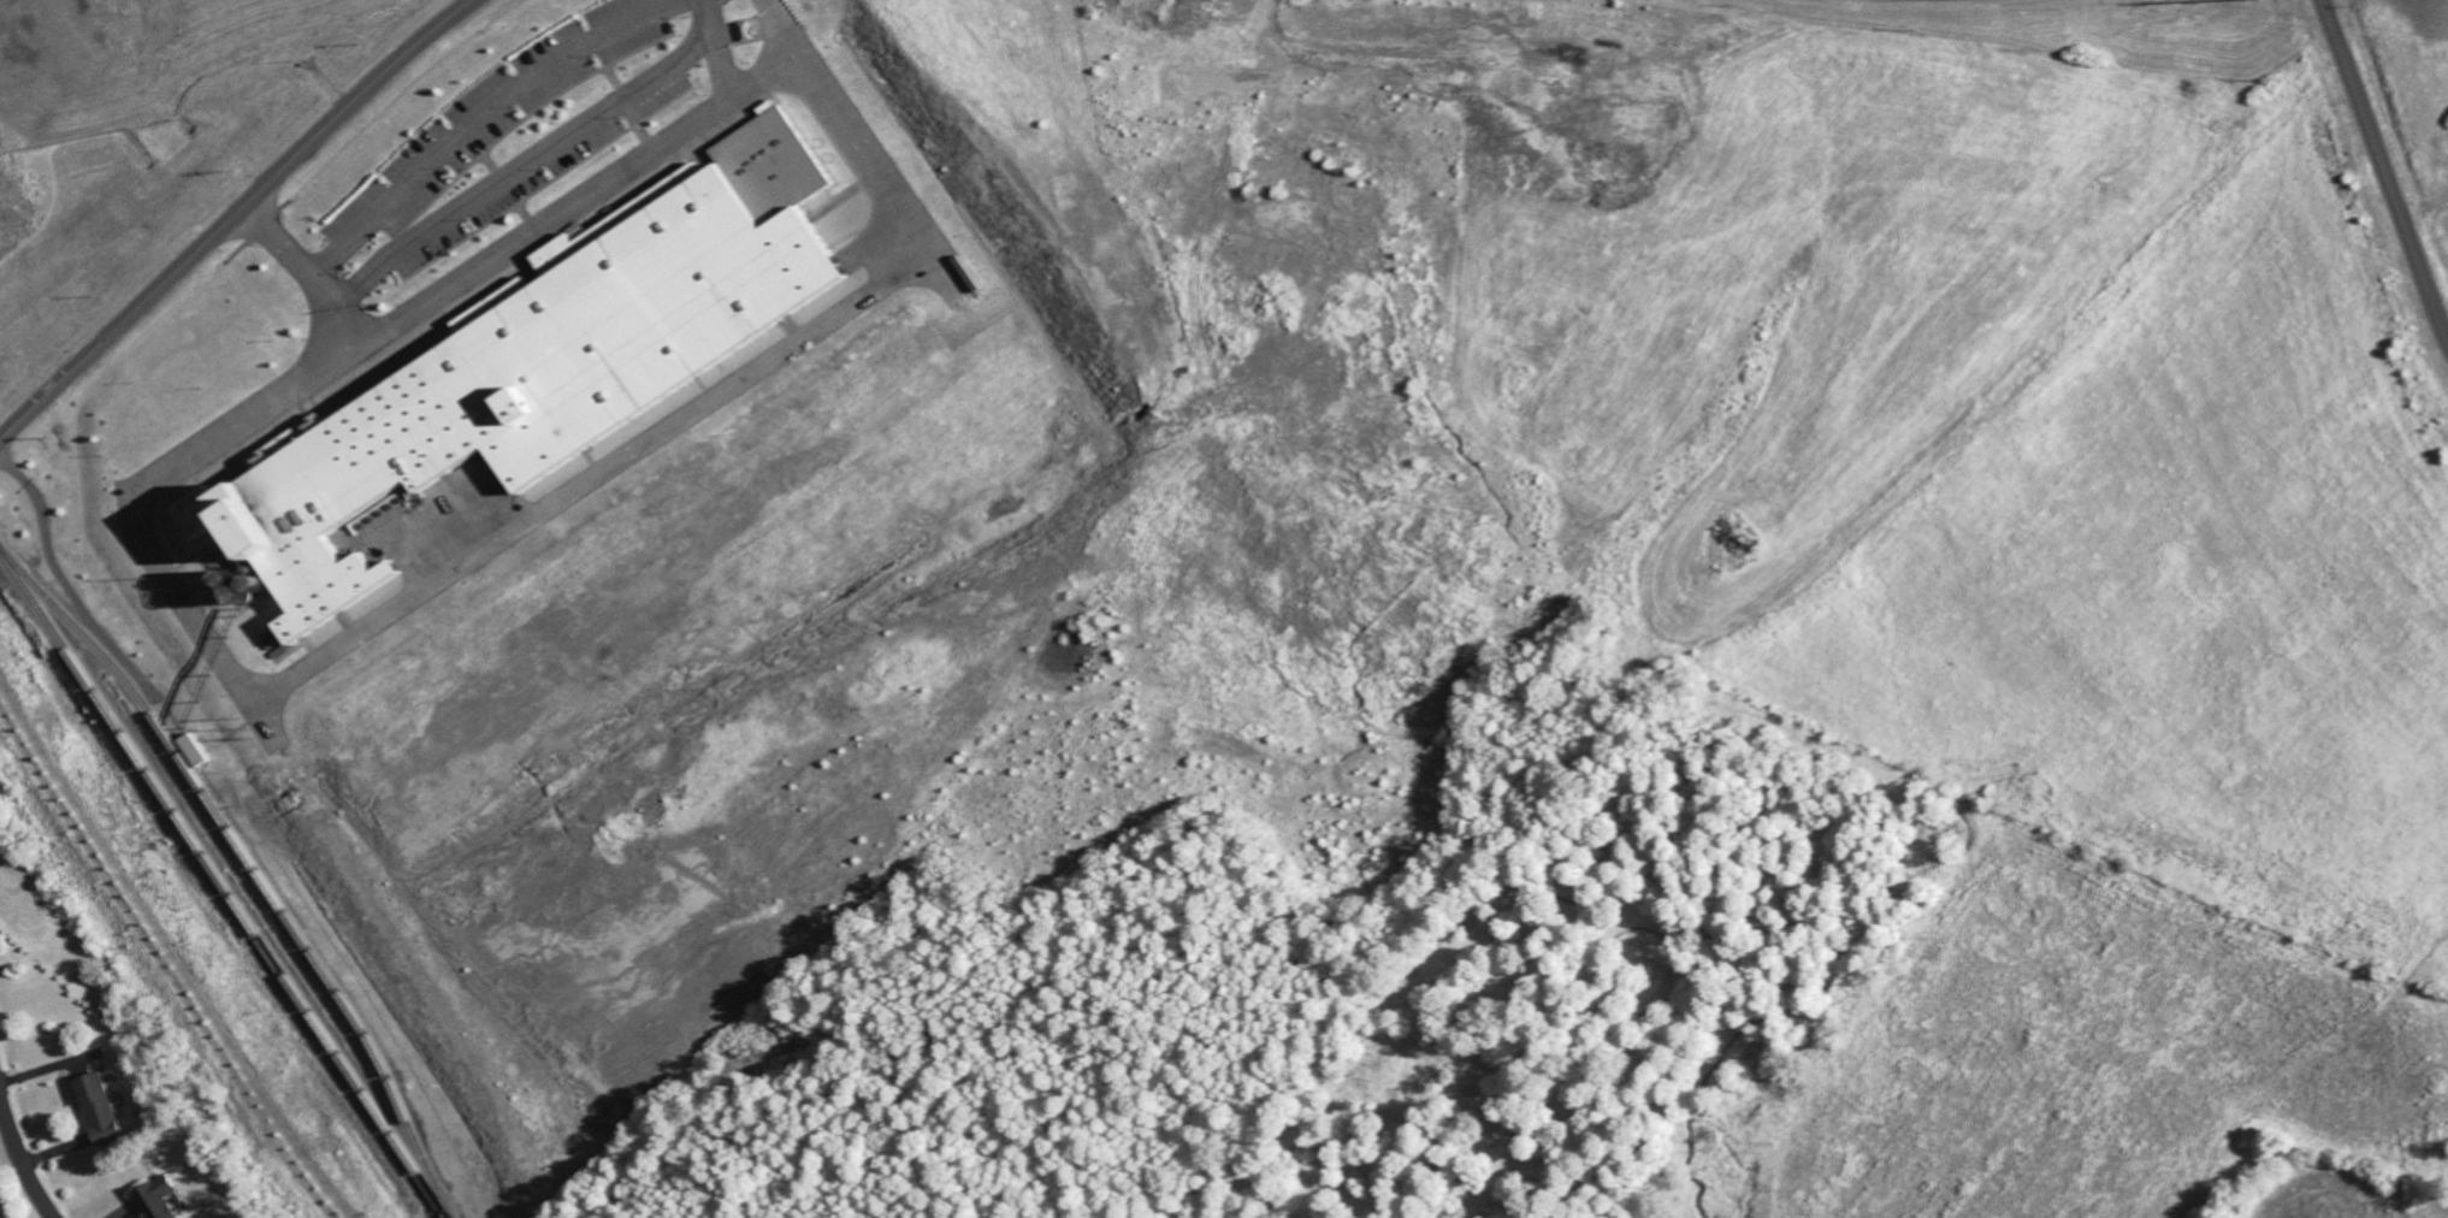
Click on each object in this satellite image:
road: (440, 22)
road: (773, 75)
road: (480, 119)
road: (528, 170)
road: (2382, 175)
road: (580, 197)
road: (206, 241)
building: (496, 294)
building: (530, 367)
road: (425, 589)
building: (93, 1102)
road: (19, 1166)

